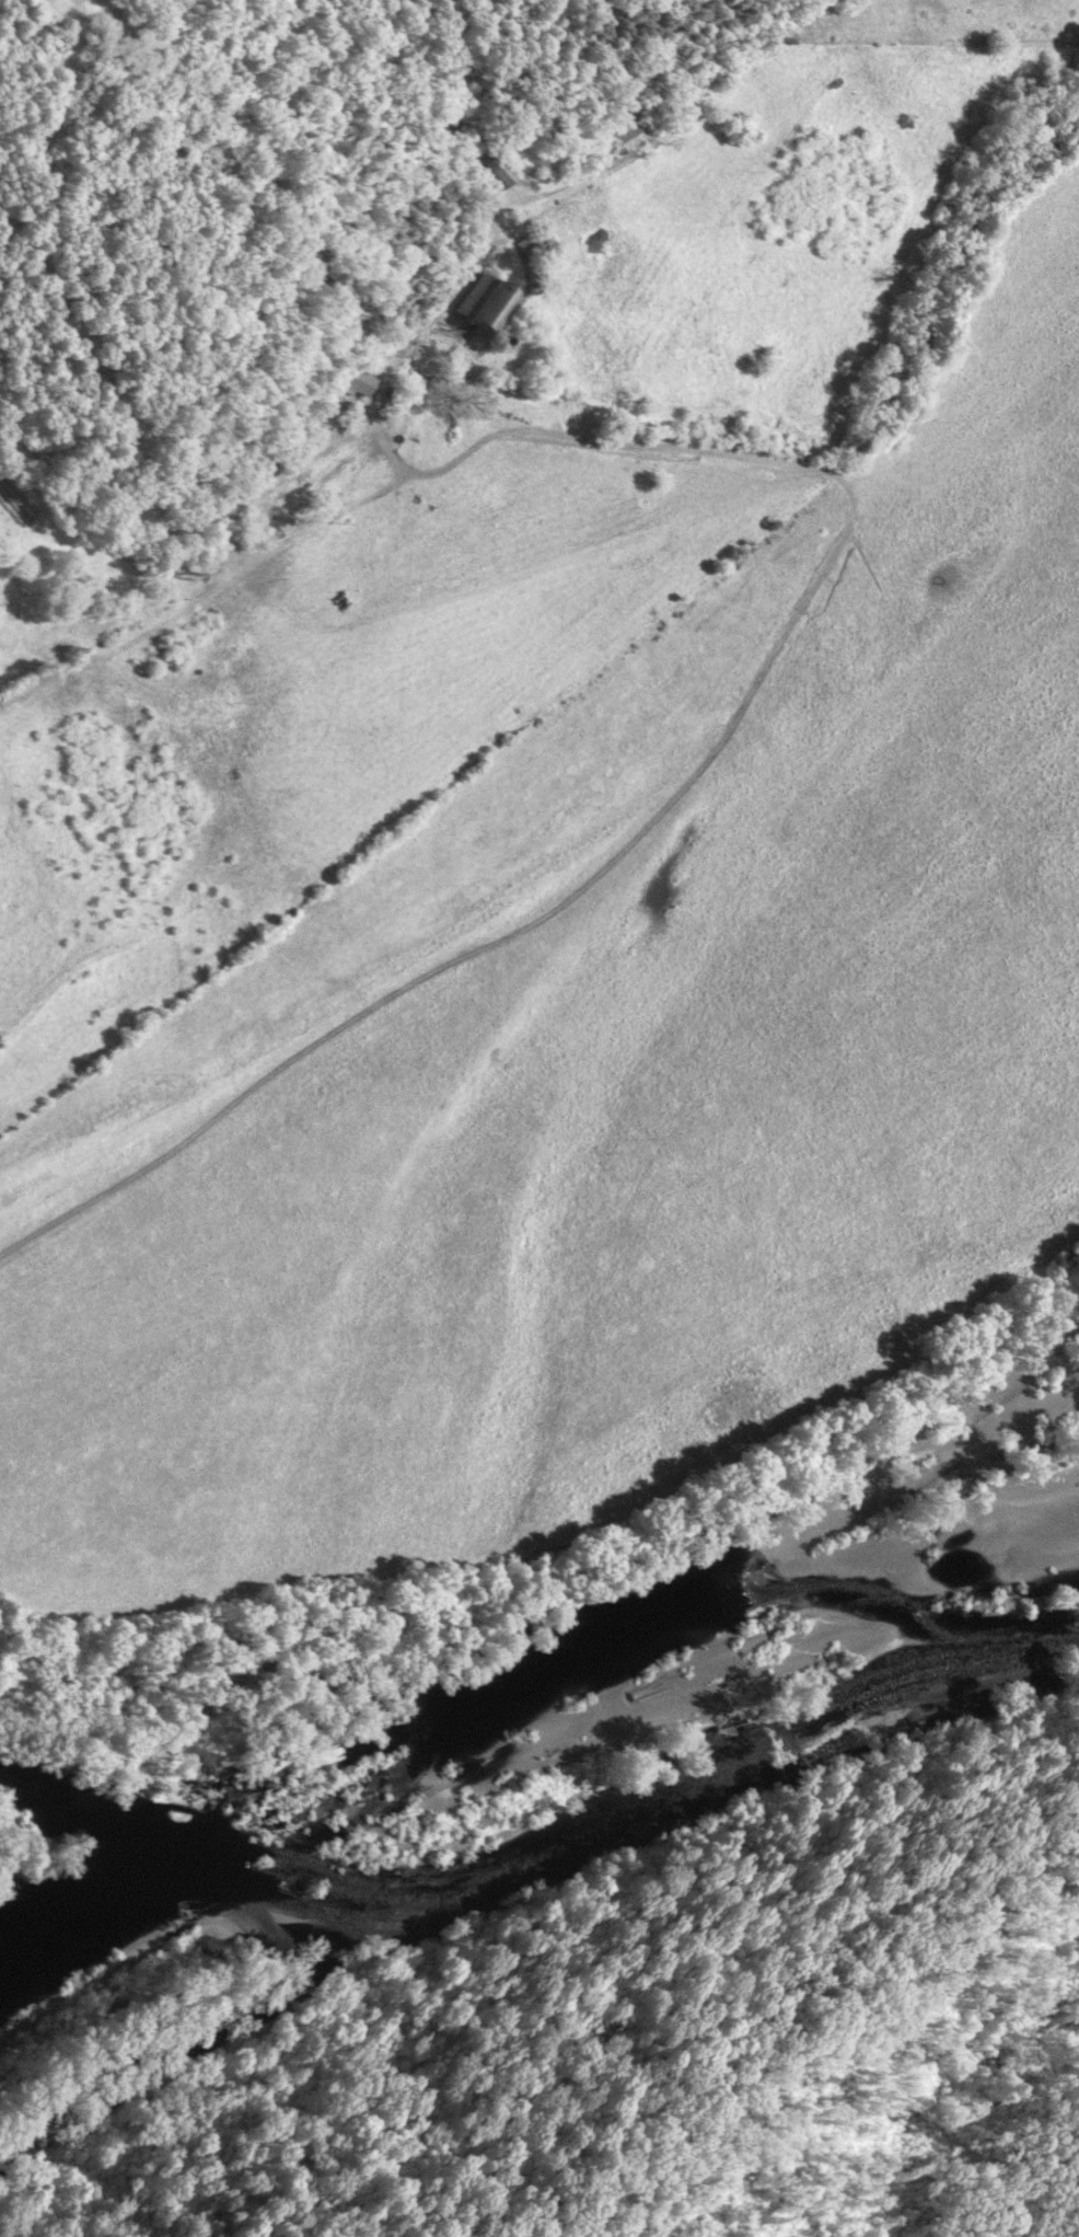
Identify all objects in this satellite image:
building: (497, 174)
road: (573, 186)
building: (490, 305)
building: (359, 383)
river: (510, 1694)
river: (548, 1868)
river: (113, 1887)

